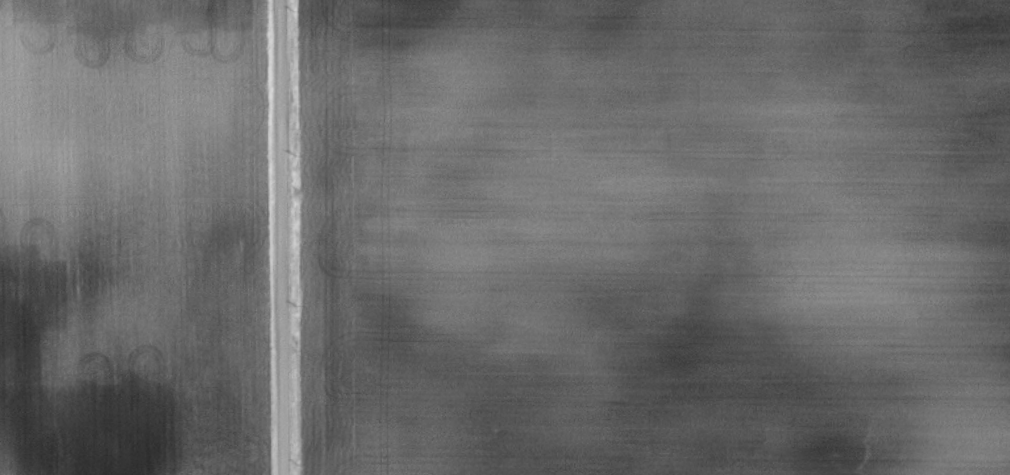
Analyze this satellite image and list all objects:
road: (272, 237)

